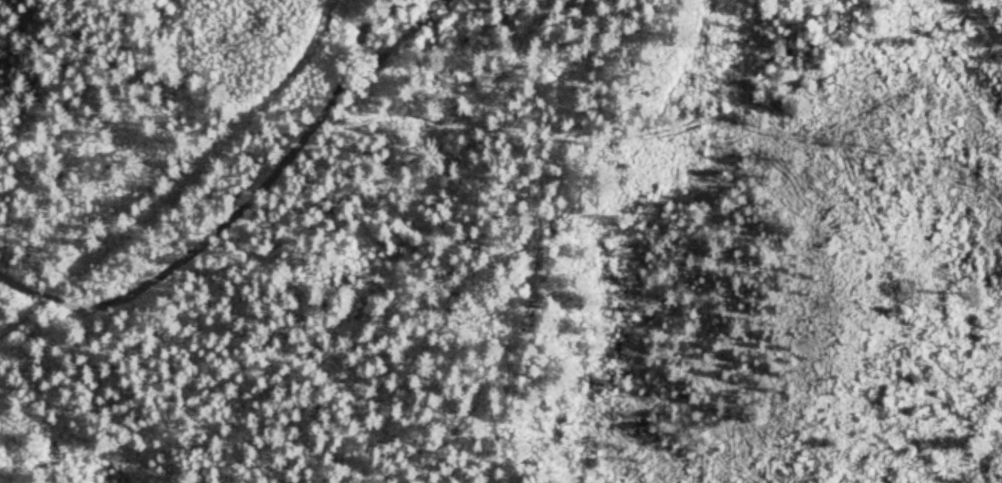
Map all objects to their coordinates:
road: (228, 221)

